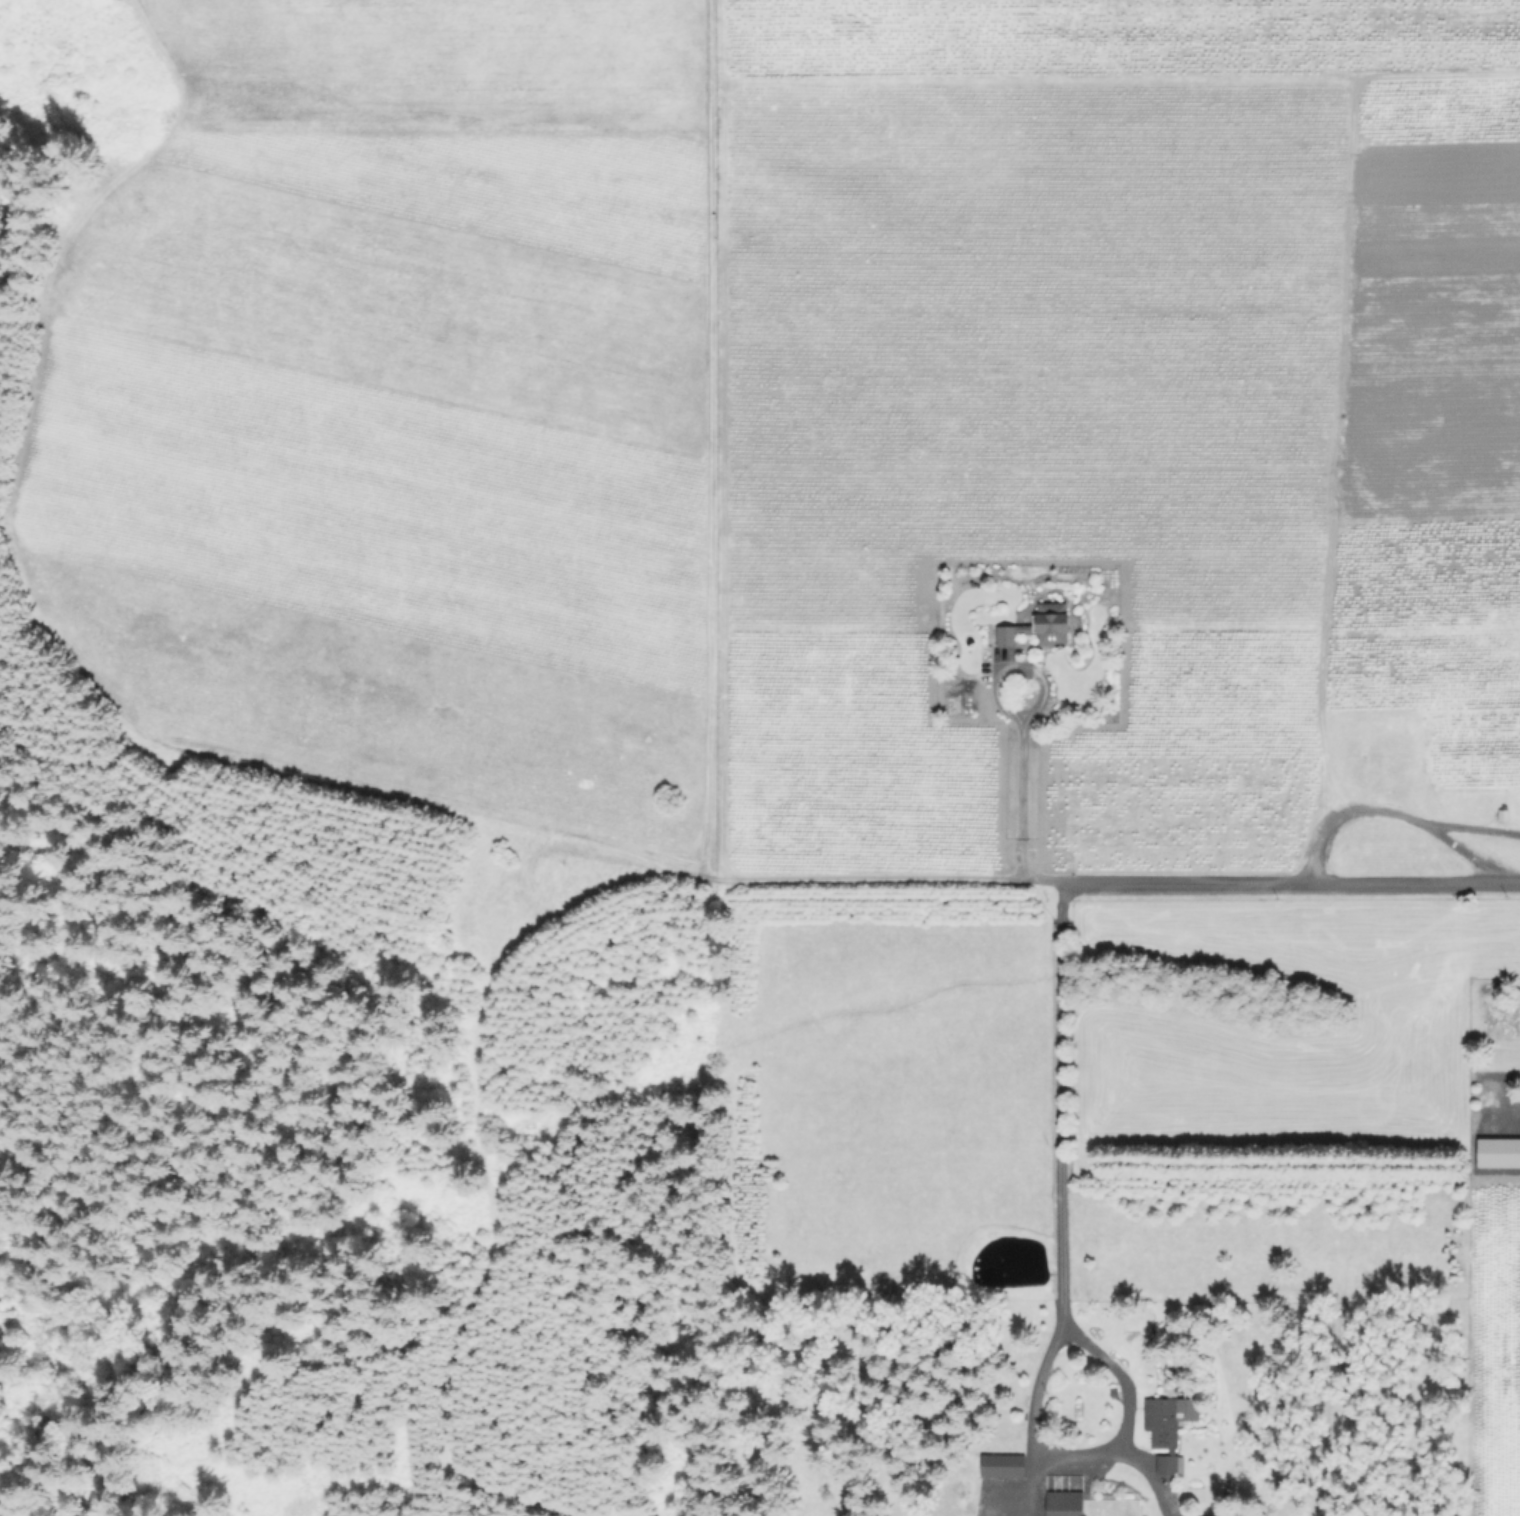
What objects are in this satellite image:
building: (1041, 626)
road: (1020, 786)
road: (1383, 814)
building: (1505, 814)
road: (1472, 831)
road: (703, 847)
road: (1059, 1101)
building: (1499, 1153)
building: (1169, 1428)
building: (1004, 1465)
road: (1091, 1468)
building: (1064, 1503)
building: (1249, 1514)

